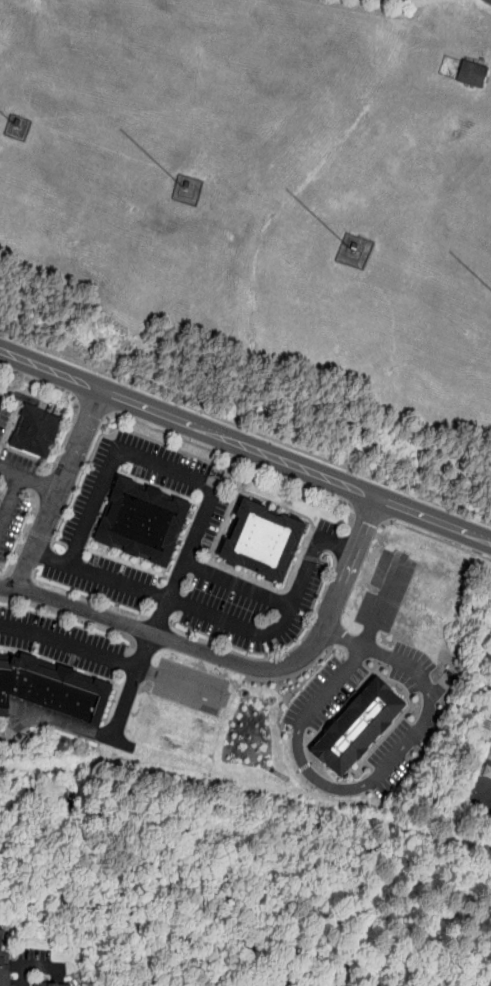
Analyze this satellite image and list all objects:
building: (472, 75)
road: (75, 404)
road: (92, 407)
road: (245, 429)
building: (40, 432)
road: (245, 445)
road: (228, 456)
road: (166, 468)
road: (29, 479)
road: (59, 492)
road: (11, 502)
road: (369, 513)
building: (140, 522)
road: (435, 537)
building: (262, 542)
road: (101, 576)
road: (239, 585)
road: (382, 601)
road: (285, 621)
road: (70, 646)
road: (236, 663)
road: (139, 670)
road: (183, 686)
building: (53, 692)
road: (64, 723)
building: (358, 726)
road: (379, 778)
building: (5, 954)
road: (35, 967)
building: (70, 984)

